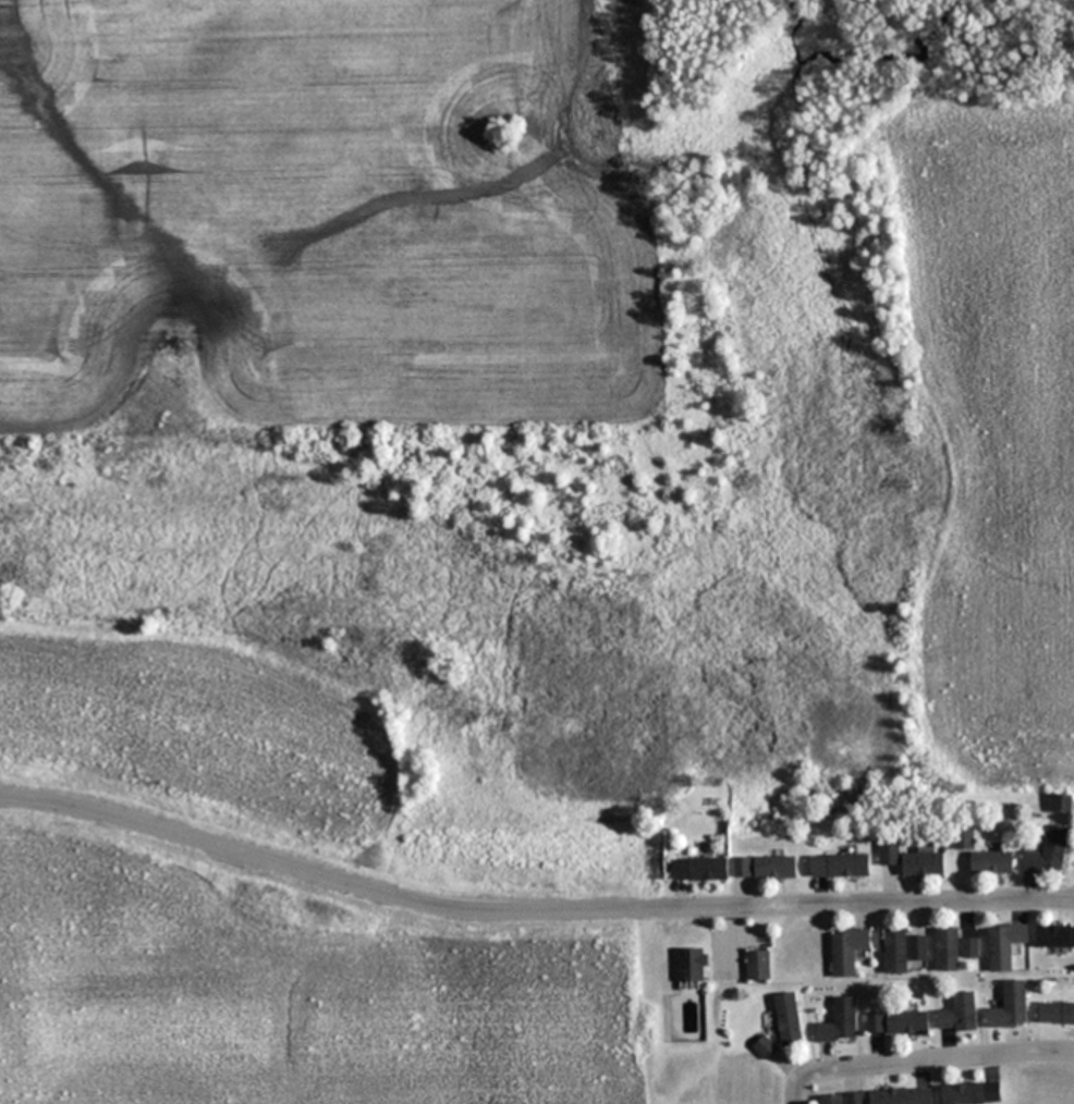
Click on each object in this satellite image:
road: (1049, 146)
road: (1035, 302)
park: (744, 341)
road: (1013, 377)
road: (1053, 456)
road: (1033, 641)
building: (1061, 804)
building: (964, 838)
building: (890, 851)
building: (1049, 852)
building: (991, 863)
building: (924, 864)
building: (841, 866)
building: (743, 868)
building: (776, 868)
building: (699, 870)
road: (529, 910)
building: (1054, 936)
building: (1005, 945)
building: (954, 948)
building: (849, 950)
building: (902, 950)
building: (758, 965)
building: (692, 966)
building: (1010, 1006)
building: (960, 1014)
building: (1057, 1014)
building: (789, 1019)
building: (840, 1021)
building: (898, 1022)
building: (766, 1047)
road: (923, 1063)
building: (972, 1093)
building: (902, 1096)
building: (844, 1099)

